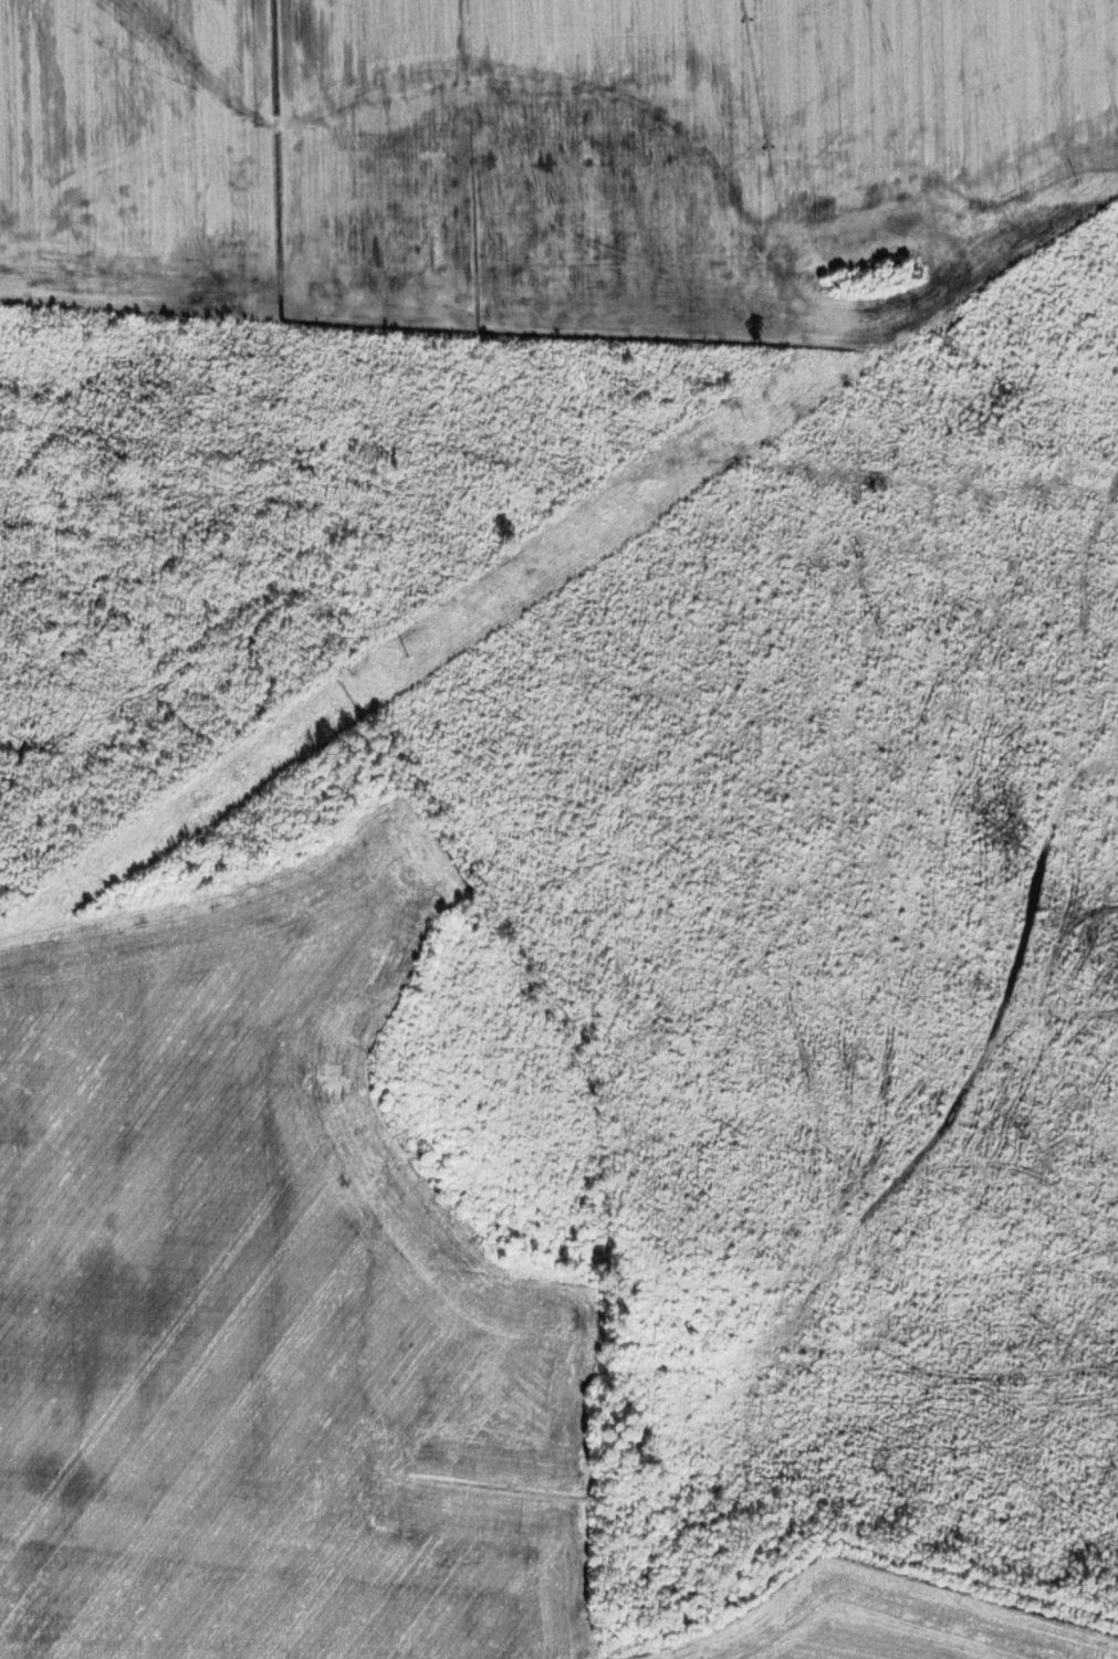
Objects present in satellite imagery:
road: (194, 1536)

